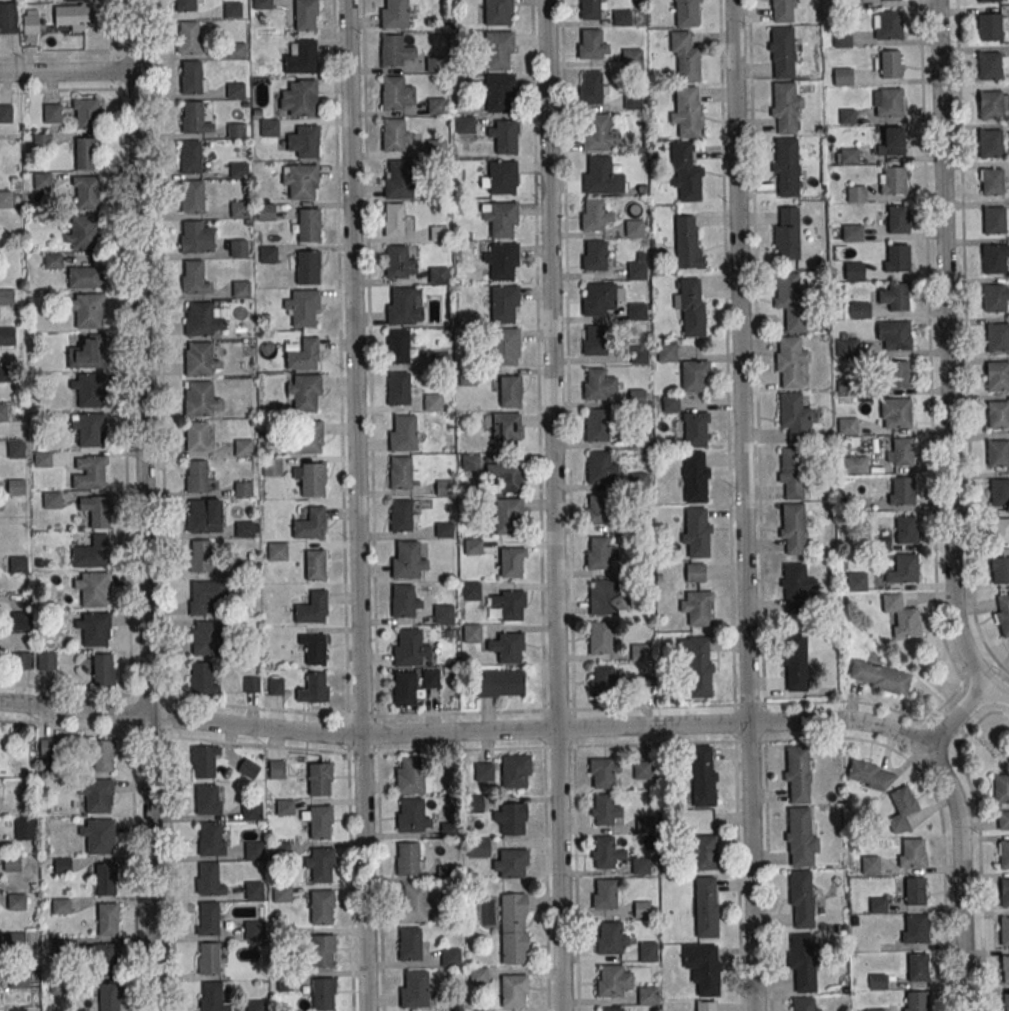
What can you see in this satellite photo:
building: (985, 0)
building: (262, 4)
building: (851, 4)
building: (185, 5)
building: (233, 9)
building: (591, 9)
building: (781, 11)
building: (498, 12)
building: (684, 13)
building: (305, 14)
building: (394, 14)
building: (8, 17)
building: (71, 17)
building: (621, 17)
building: (30, 25)
building: (886, 25)
building: (989, 26)
building: (187, 37)
building: (841, 39)
building: (592, 44)
building: (237, 50)
building: (392, 50)
building: (497, 50)
building: (781, 53)
building: (300, 55)
building: (684, 56)
building: (631, 57)
building: (890, 63)
building: (435, 64)
building: (989, 65)
road: (66, 71)
building: (842, 76)
building: (191, 77)
building: (591, 87)
building: (499, 92)
building: (393, 93)
building: (299, 98)
building: (632, 100)
building: (886, 102)
building: (990, 104)
building: (436, 105)
building: (785, 107)
building: (686, 111)
building: (52, 112)
building: (5, 113)
building: (85, 113)
building: (192, 117)
building: (465, 125)
building: (269, 127)
building: (236, 130)
building: (393, 134)
building: (598, 134)
building: (503, 136)
building: (42, 141)
building: (890, 141)
building: (304, 142)
building: (990, 143)
building: (436, 147)
building: (86, 153)
building: (848, 156)
building: (190, 157)
building: (785, 165)
building: (231, 170)
building: (685, 173)
building: (601, 176)
building: (500, 178)
building: (398, 179)
building: (42, 181)
building: (301, 181)
building: (892, 181)
building: (992, 181)
building: (86, 192)
building: (855, 193)
building: (193, 198)
building: (4, 199)
building: (239, 209)
building: (265, 212)
building: (595, 214)
building: (503, 218)
building: (896, 218)
building: (395, 219)
building: (994, 220)
building: (309, 224)
building: (633, 228)
building: (82, 232)
building: (851, 232)
building: (436, 233)
building: (786, 234)
building: (197, 236)
building: (686, 243)
building: (238, 248)
building: (267, 254)
building: (594, 255)
building: (896, 258)
building: (993, 259)
building: (503, 260)
building: (397, 261)
building: (308, 266)
building: (636, 270)
building: (853, 271)
building: (438, 275)
building: (194, 276)
building: (85, 277)
building: (241, 289)
road: (927, 290)
road: (964, 295)
building: (894, 296)
building: (993, 298)
building: (594, 299)
building: (789, 300)
building: (504, 303)
building: (402, 306)
building: (690, 307)
building: (303, 308)
building: (87, 309)
building: (859, 310)
building: (637, 311)
building: (199, 319)
building: (893, 334)
building: (7, 336)
building: (998, 337)
building: (594, 340)
building: (398, 345)
building: (505, 346)
building: (845, 348)
road: (945, 348)
road: (755, 351)
building: (87, 352)
building: (666, 352)
road: (726, 352)
building: (304, 354)
building: (638, 355)
building: (199, 358)
road: (339, 358)
building: (789, 360)
building: (898, 374)
road: (370, 375)
building: (694, 375)
building: (998, 376)
building: (466, 381)
building: (595, 383)
building: (89, 388)
building: (398, 388)
building: (509, 390)
building: (304, 391)
building: (199, 398)
building: (433, 402)
building: (670, 403)
building: (3, 412)
building: (895, 413)
building: (998, 415)
building: (794, 417)
building: (597, 424)
building: (847, 425)
building: (89, 428)
building: (694, 428)
building: (504, 430)
building: (405, 434)
building: (197, 436)
building: (307, 436)
building: (637, 439)
building: (243, 447)
building: (16, 449)
building: (899, 452)
building: (997, 454)
building: (470, 462)
building: (853, 464)
building: (272, 467)
building: (598, 467)
building: (90, 472)
building: (401, 472)
building: (793, 473)
building: (505, 475)
building: (197, 476)
building: (695, 476)
building: (312, 479)
building: (638, 480)
building: (16, 487)
building: (444, 487)
building: (901, 490)
building: (999, 491)
building: (52, 500)
road: (142, 505)
road: (357, 505)
road: (554, 505)
road: (744, 505)
building: (596, 509)
building: (96, 510)
building: (204, 515)
building: (402, 515)
building: (507, 516)
building: (310, 523)
building: (793, 528)
building: (246, 529)
building: (444, 529)
building: (906, 529)
building: (999, 530)
building: (695, 531)
building: (473, 546)
building: (278, 551)
building: (92, 553)
building: (598, 553)
building: (200, 556)
building: (406, 560)
building: (512, 562)
building: (315, 565)
building: (904, 567)
building: (1000, 569)
building: (694, 572)
building: (856, 581)
building: (93, 588)
building: (795, 588)
building: (471, 590)
building: (206, 596)
building: (607, 598)
building: (403, 600)
building: (509, 603)
building: (312, 607)
building: (697, 607)
building: (1001, 613)
building: (443, 614)
building: (901, 616)
building: (19, 620)
building: (94, 628)
building: (472, 633)
building: (206, 637)
building: (602, 637)
building: (507, 647)
building: (314, 648)
building: (408, 648)
building: (639, 651)
building: (22, 660)
building: (795, 660)
building: (46, 661)
building: (698, 664)
building: (103, 669)
building: (879, 677)
building: (203, 679)
building: (601, 680)
building: (500, 683)
building: (276, 685)
building: (314, 688)
building: (405, 688)
road: (999, 693)
road: (380, 714)
road: (955, 721)
road: (464, 730)
road: (192, 738)
road: (363, 752)
building: (103, 755)
building: (205, 761)
building: (248, 768)
building: (277, 769)
building: (642, 770)
building: (484, 771)
building: (515, 771)
building: (603, 772)
building: (798, 774)
building: (869, 774)
building: (411, 776)
building: (703, 776)
building: (320, 778)
building: (1001, 788)
building: (96, 796)
building: (208, 799)
building: (475, 804)
building: (285, 807)
building: (605, 810)
building: (901, 810)
building: (252, 811)
building: (412, 814)
building: (510, 817)
building: (1003, 820)
building: (320, 821)
building: (644, 823)
building: (24, 828)
building: (98, 835)
building: (800, 836)
building: (211, 839)
building: (478, 847)
building: (254, 851)
building: (703, 851)
building: (605, 852)
building: (911, 852)
building: (1004, 854)
building: (409, 858)
building: (12, 863)
building: (322, 863)
building: (62, 864)
building: (510, 864)
building: (640, 865)
building: (869, 865)
road: (960, 876)
building: (106, 878)
building: (207, 878)
building: (251, 890)
building: (914, 890)
building: (1005, 892)
building: (282, 893)
building: (604, 893)
building: (801, 899)
building: (16, 901)
building: (415, 903)
building: (61, 905)
building: (322, 907)
building: (706, 907)
building: (642, 909)
building: (208, 918)
building: (108, 919)
building: (513, 928)
building: (915, 928)
building: (254, 930)
building: (1004, 930)
building: (612, 938)
building: (17, 940)
building: (410, 944)
building: (59, 946)
building: (321, 951)
building: (647, 952)
building: (451, 957)
building: (209, 958)
building: (106, 960)
building: (802, 962)
building: (917, 967)
building: (703, 968)
building: (1006, 969)
building: (478, 975)
building: (612, 981)
building: (416, 989)
building: (513, 991)
building: (322, 993)
building: (647, 995)
building: (211, 996)
building: (110, 997)
building: (916, 1000)
building: (1006, 1002)
building: (802, 1004)
building: (255, 1005)
building: (707, 1006)
building: (16, 1009)
building: (612, 1009)

